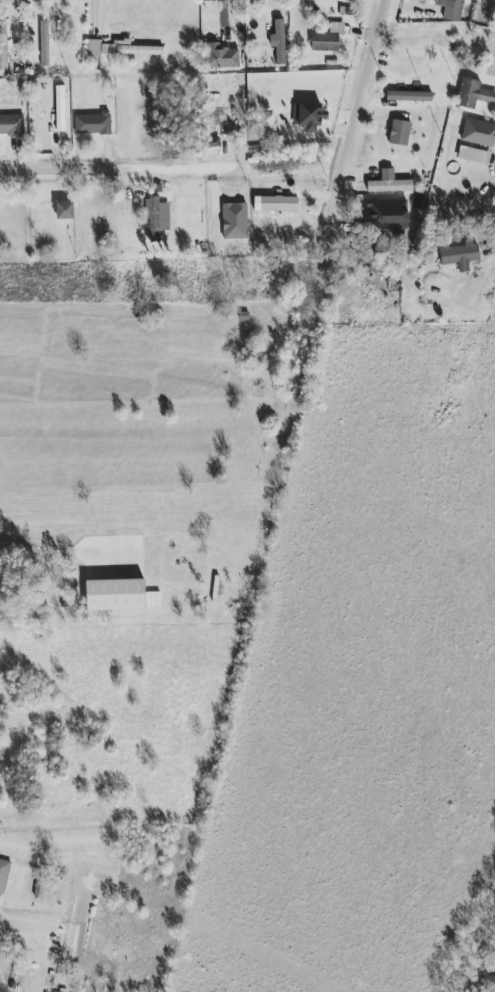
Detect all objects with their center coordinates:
building: (452, 9)
building: (328, 38)
building: (278, 41)
building: (44, 43)
building: (3, 45)
building: (119, 48)
building: (220, 56)
building: (474, 94)
building: (409, 96)
building: (60, 109)
road: (357, 112)
building: (307, 116)
building: (93, 124)
building: (263, 124)
building: (11, 125)
building: (399, 133)
building: (479, 133)
building: (211, 142)
building: (473, 155)
road: (92, 167)
building: (389, 183)
building: (229, 197)
building: (278, 204)
building: (64, 211)
building: (386, 215)
building: (156, 217)
building: (460, 256)
building: (153, 599)
building: (3, 877)

